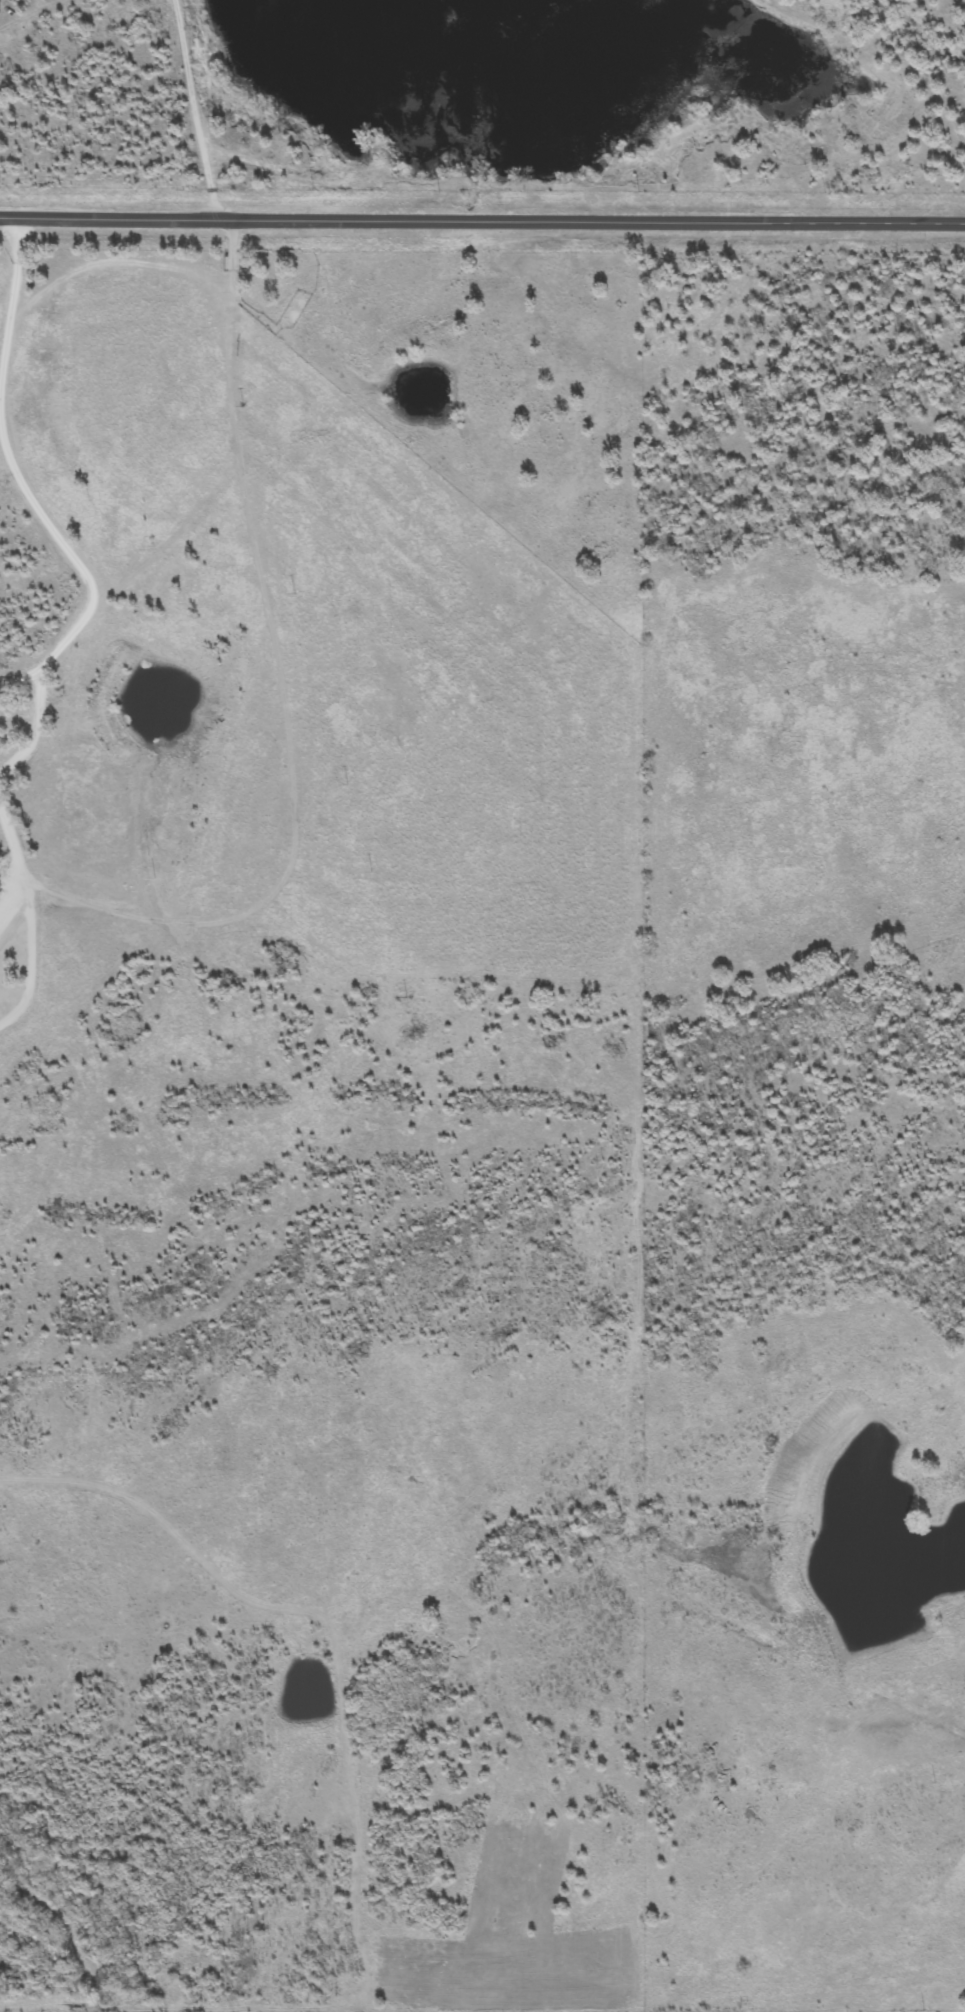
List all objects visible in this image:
road: (482, 224)

